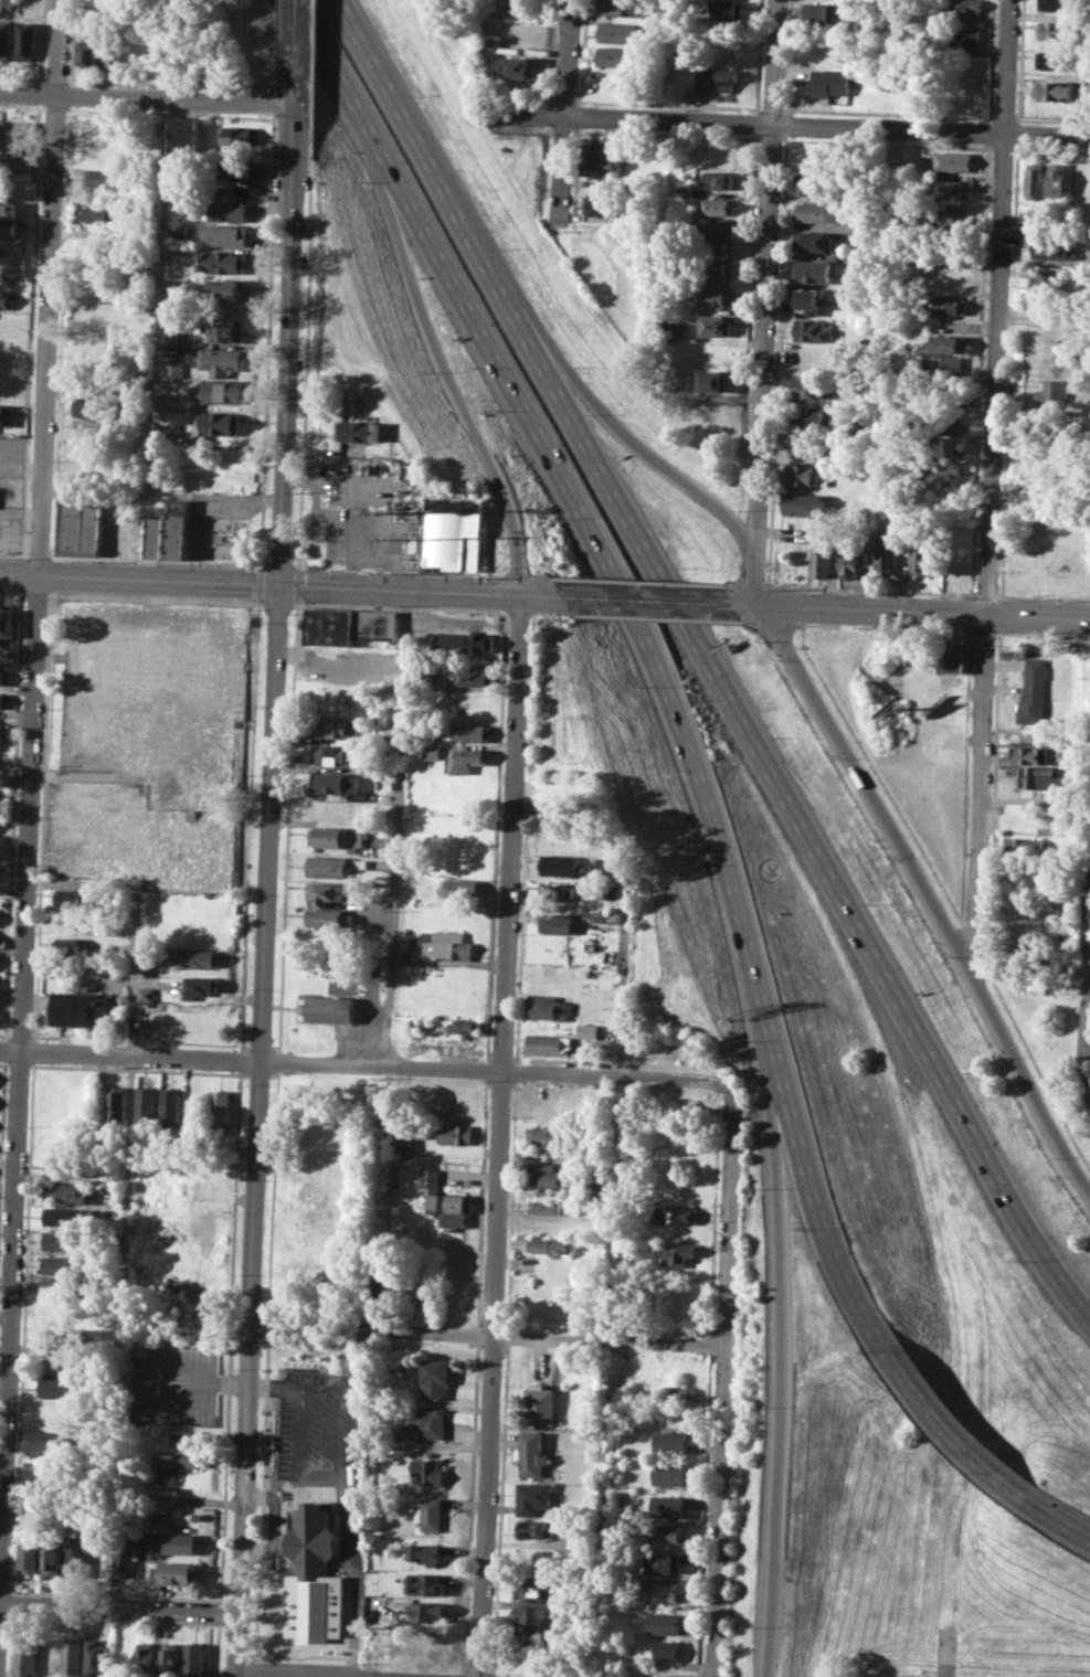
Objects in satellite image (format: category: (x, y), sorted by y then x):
building: (1056, 4)
building: (620, 7)
building: (729, 9)
building: (966, 9)
building: (816, 13)
building: (1056, 30)
building: (622, 33)
building: (964, 38)
building: (6, 40)
building: (25, 40)
building: (493, 44)
road: (298, 45)
building: (89, 51)
building: (112, 51)
building: (618, 56)
building: (1056, 60)
road: (773, 62)
building: (520, 66)
building: (718, 78)
building: (828, 82)
building: (1056, 89)
building: (691, 95)
road: (148, 98)
road: (567, 109)
road: (795, 125)
building: (187, 135)
building: (240, 136)
building: (4, 137)
building: (24, 139)
building: (593, 157)
building: (613, 159)
building: (953, 161)
building: (900, 167)
building: (237, 169)
building: (104, 177)
building: (720, 179)
building: (1036, 179)
building: (1059, 179)
building: (815, 184)
building: (954, 188)
building: (685, 190)
building: (602, 203)
building: (717, 205)
building: (8, 208)
building: (227, 210)
building: (817, 211)
building: (104, 213)
building: (950, 215)
building: (718, 225)
building: (1027, 227)
building: (8, 229)
building: (178, 229)
building: (227, 234)
building: (814, 241)
building: (717, 245)
building: (1052, 247)
building: (222, 261)
building: (717, 266)
building: (813, 270)
building: (1047, 280)
building: (224, 290)
road: (162, 294)
building: (715, 295)
building: (7, 299)
building: (807, 299)
building: (948, 305)
building: (716, 325)
building: (224, 329)
building: (675, 330)
building: (813, 330)
building: (172, 339)
road: (763, 339)
building: (950, 341)
building: (221, 360)
building: (949, 364)
building: (174, 368)
road: (445, 376)
building: (715, 381)
building: (807, 386)
building: (220, 391)
building: (1054, 391)
building: (93, 405)
building: (6, 414)
building: (804, 415)
building: (221, 422)
building: (945, 422)
building: (864, 427)
building: (92, 428)
building: (358, 429)
building: (1035, 455)
road: (652, 457)
building: (943, 471)
building: (806, 476)
building: (1031, 481)
road: (991, 484)
building: (806, 505)
building: (80, 527)
building: (179, 528)
building: (453, 532)
building: (157, 533)
building: (886, 553)
road: (13, 554)
road: (38, 555)
building: (922, 555)
building: (822, 559)
road: (156, 560)
building: (850, 563)
road: (278, 564)
road: (399, 570)
road: (516, 575)
road: (542, 576)
road: (638, 581)
road: (755, 581)
road: (283, 584)
road: (732, 584)
road: (753, 585)
road: (871, 590)
road: (986, 594)
road: (1043, 597)
road: (653, 601)
road: (752, 605)
road: (927, 612)
building: (7, 620)
building: (375, 624)
building: (329, 626)
building: (465, 641)
road: (649, 650)
building: (953, 654)
road: (707, 662)
building: (4, 676)
building: (472, 677)
building: (1035, 692)
building: (4, 699)
building: (336, 728)
building: (472, 732)
building: (432, 750)
building: (1030, 754)
building: (334, 755)
building: (467, 760)
road: (31, 774)
building: (1035, 776)
building: (336, 782)
building: (565, 809)
building: (334, 810)
road: (396, 828)
building: (337, 836)
building: (1024, 847)
building: (328, 864)
building: (563, 864)
building: (607, 866)
road: (266, 883)
building: (463, 887)
building: (555, 890)
building: (614, 890)
building: (326, 892)
building: (72, 898)
road: (928, 900)
building: (609, 915)
building: (329, 916)
building: (558, 922)
building: (446, 944)
building: (71, 946)
building: (199, 957)
road: (625, 966)
building: (201, 985)
building: (148, 993)
road: (1084, 993)
building: (551, 1006)
building: (331, 1008)
building: (80, 1009)
building: (447, 1025)
road: (134, 1028)
building: (591, 1030)
building: (550, 1042)
road: (368, 1065)
building: (458, 1096)
building: (116, 1103)
building: (146, 1103)
building: (170, 1106)
building: (220, 1107)
building: (457, 1134)
road: (500, 1136)
building: (552, 1136)
building: (403, 1143)
building: (66, 1165)
building: (543, 1174)
building: (68, 1192)
building: (447, 1201)
building: (551, 1207)
building: (67, 1214)
building: (678, 1214)
road: (731, 1216)
building: (677, 1233)
building: (62, 1240)
building: (549, 1245)
building: (679, 1253)
building: (61, 1264)
building: (390, 1283)
building: (61, 1284)
building: (414, 1285)
road: (487, 1335)
building: (55, 1338)
building: (56, 1362)
road: (786, 1368)
building: (434, 1376)
road: (221, 1383)
parking lot: (172, 1384)
building: (53, 1387)
building: (675, 1394)
road: (191, 1400)
building: (538, 1402)
building: (423, 1423)
road: (950, 1430)
road: (300, 1441)
building: (669, 1442)
building: (45, 1443)
road: (341, 1443)
parking lot: (326, 1452)
building: (531, 1454)
building: (172, 1465)
building: (427, 1471)
building: (669, 1474)
building: (49, 1479)
building: (536, 1496)
building: (667, 1505)
road: (720, 1510)
building: (431, 1513)
road: (1057, 1517)
building: (535, 1528)
building: (665, 1532)
road: (273, 1536)
building: (174, 1542)
building: (564, 1542)
building: (311, 1545)
building: (425, 1553)
building: (31, 1556)
building: (52, 1556)
building: (76, 1556)
building: (125, 1556)
building: (665, 1562)
building: (176, 1572)
road: (357, 1582)
building: (426, 1583)
building: (530, 1589)
building: (662, 1591)
road: (119, 1606)
building: (425, 1611)
building: (531, 1622)
building: (663, 1623)
building: (422, 1639)
building: (666, 1649)
building: (25, 1656)
building: (51, 1656)
building: (74, 1657)
building: (98, 1658)
building: (123, 1658)
building: (146, 1659)
building: (170, 1659)
building: (194, 1659)
road: (945, 1659)
road: (327, 1671)

